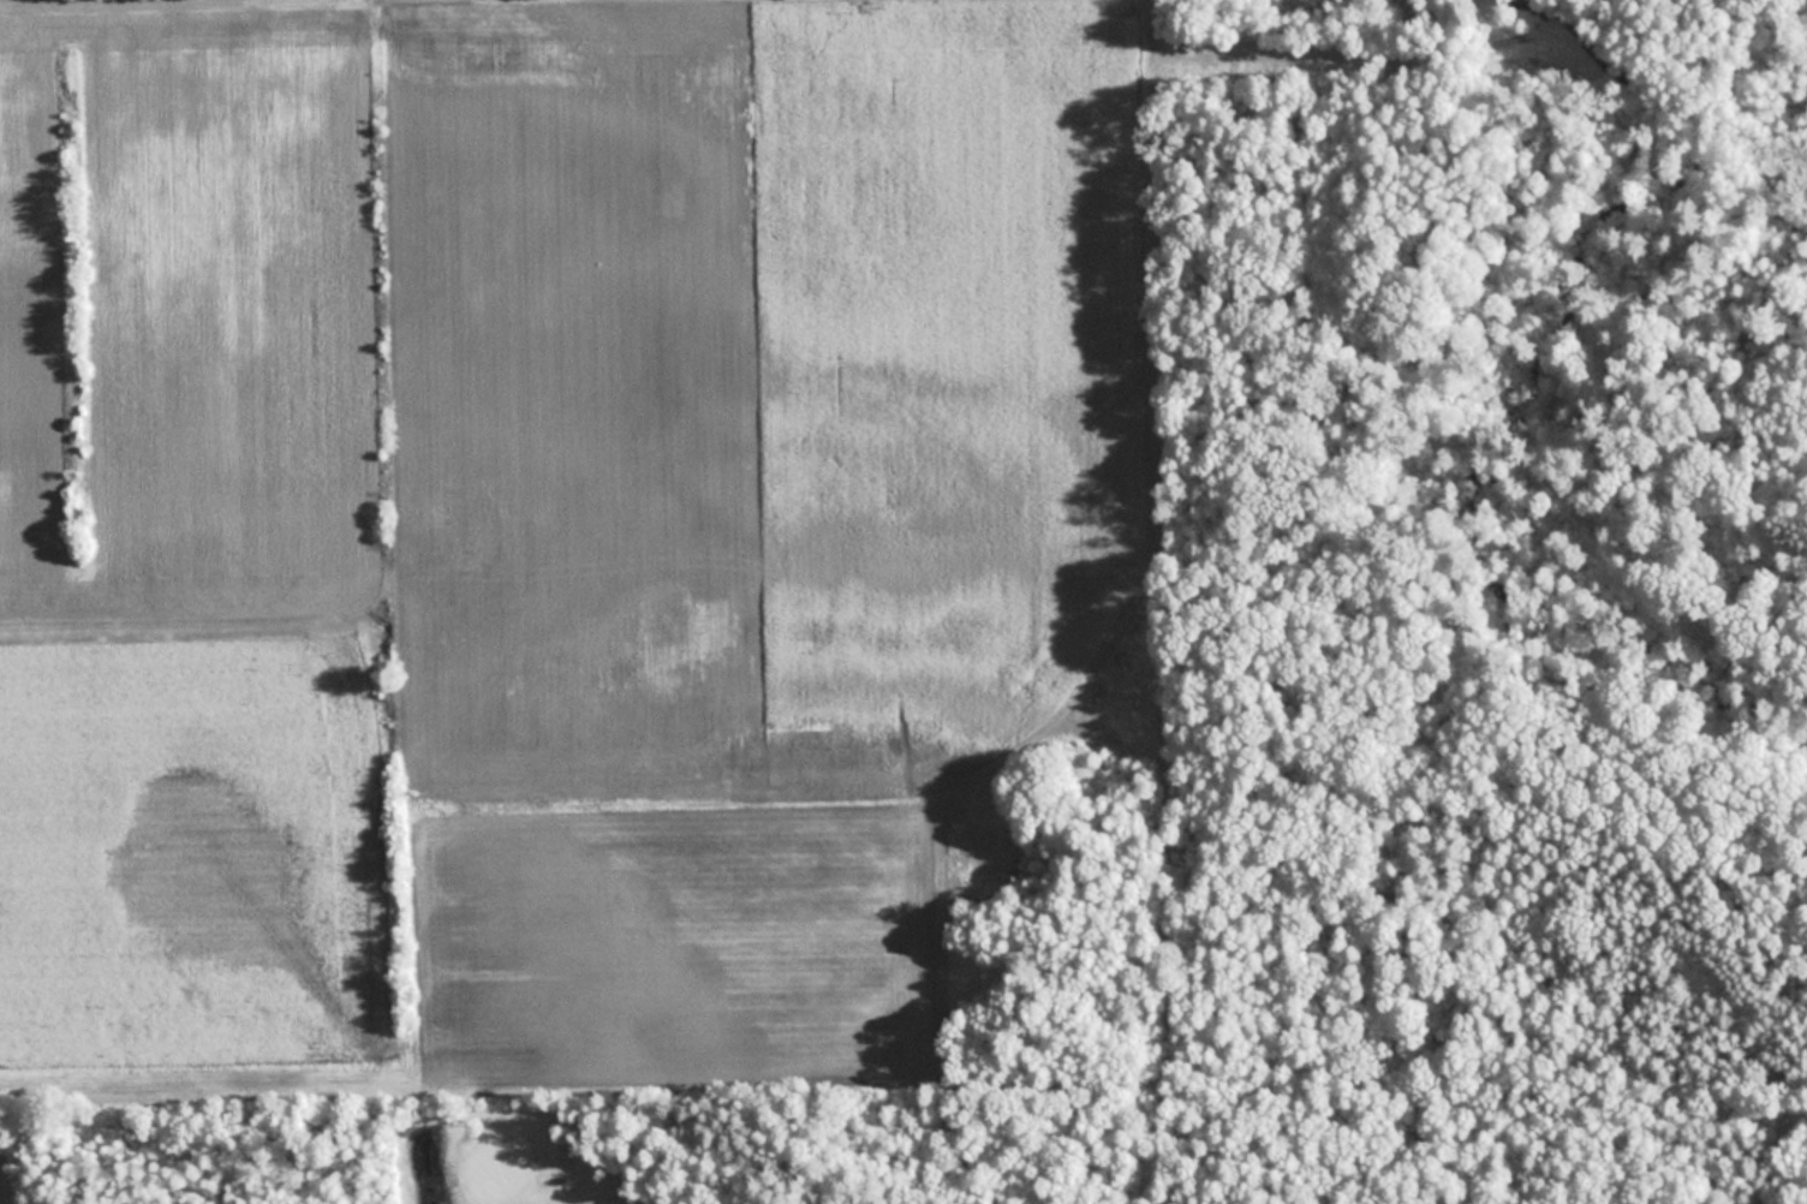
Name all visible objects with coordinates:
park: (417, 1139)
park: (496, 1167)

